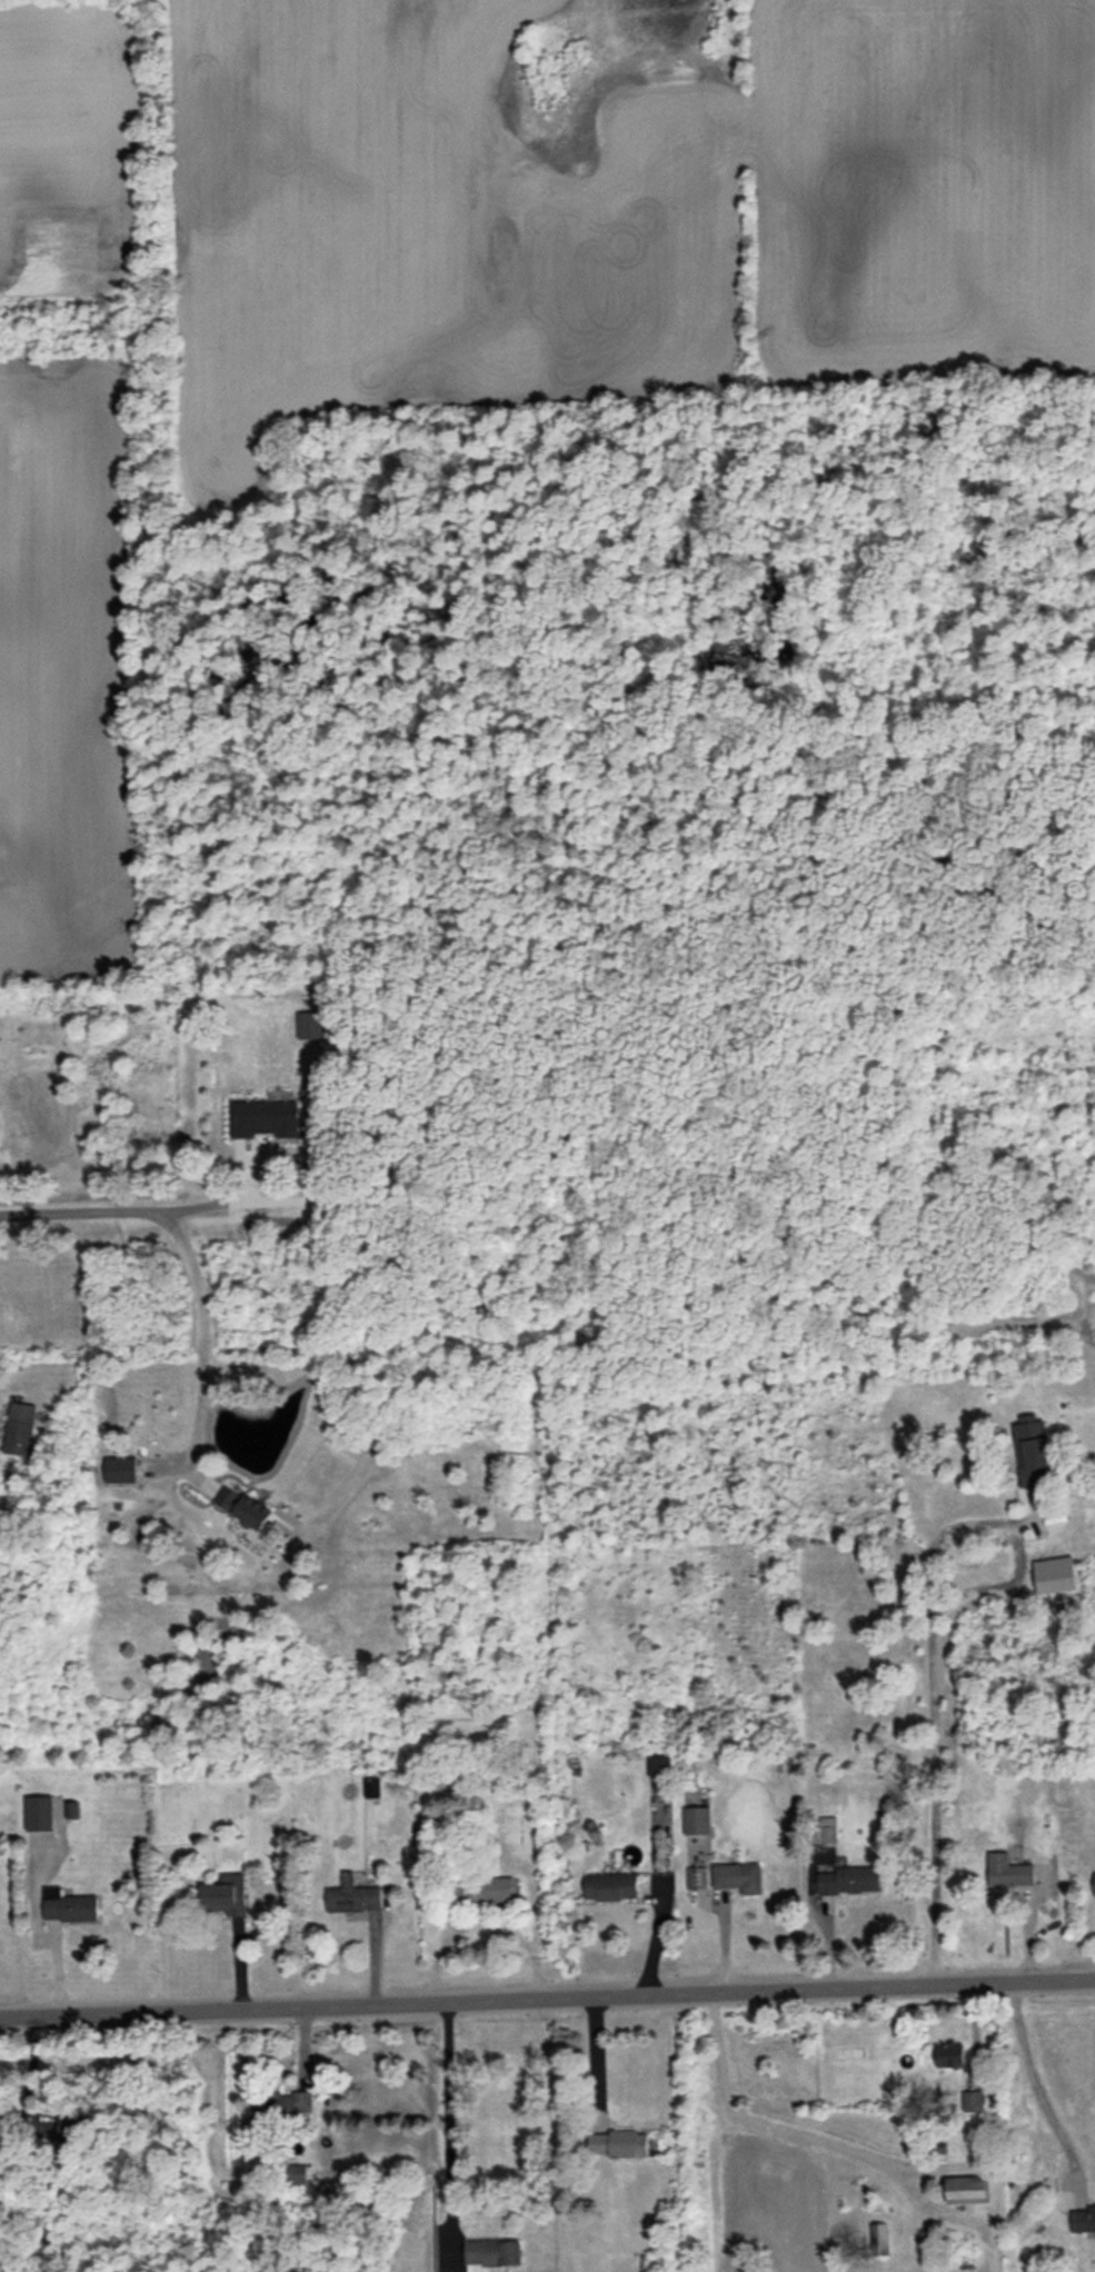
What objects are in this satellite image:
building: (310, 1024)
building: (265, 1118)
road: (222, 1200)
road: (79, 1214)
road: (197, 1339)
building: (19, 1428)
building: (1033, 1453)
building: (119, 1469)
building: (246, 1508)
road: (1009, 1523)
building: (1054, 1574)
building: (658, 1764)
building: (371, 1786)
road: (936, 1794)
building: (39, 1813)
building: (696, 1820)
building: (827, 1830)
building: (1007, 1871)
building: (738, 1876)
building: (697, 1877)
building: (849, 1880)
building: (1094, 1884)
building: (610, 1885)
building: (488, 1889)
building: (226, 1894)
building: (352, 1895)
building: (68, 1905)
road: (654, 1934)
road: (547, 1996)
building: (949, 2054)
road: (594, 2056)
road: (1033, 2084)
building: (973, 2100)
building: (282, 2104)
road: (760, 2122)
road: (447, 2124)
building: (66, 2125)
building: (2, 2130)
building: (618, 2143)
building: (296, 2172)
building: (967, 2189)
building: (1083, 2219)
building: (491, 2253)

